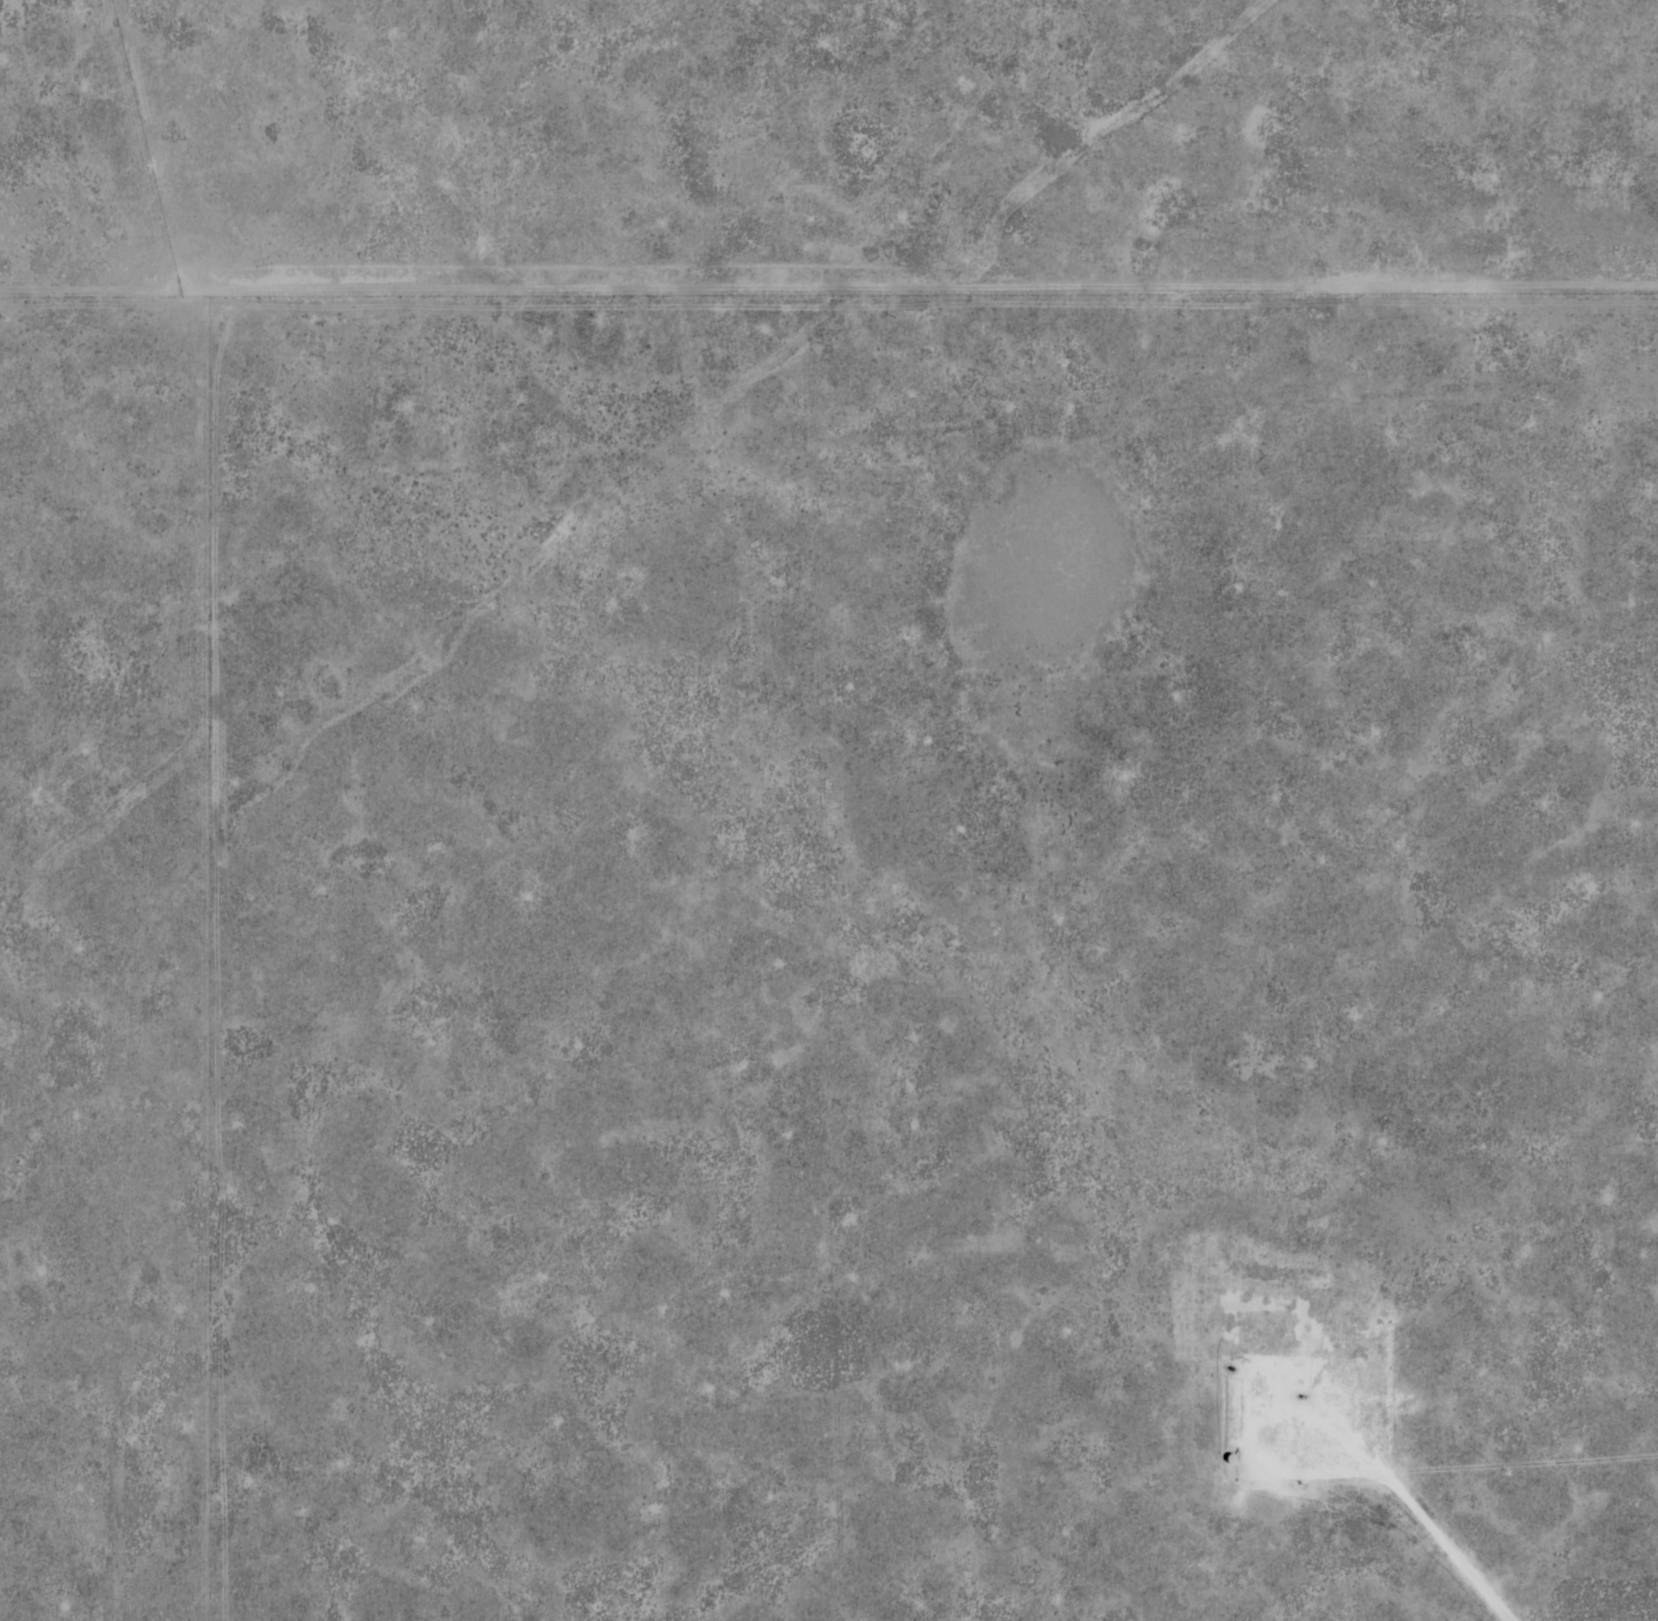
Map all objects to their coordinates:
road: (1406, 1508)

